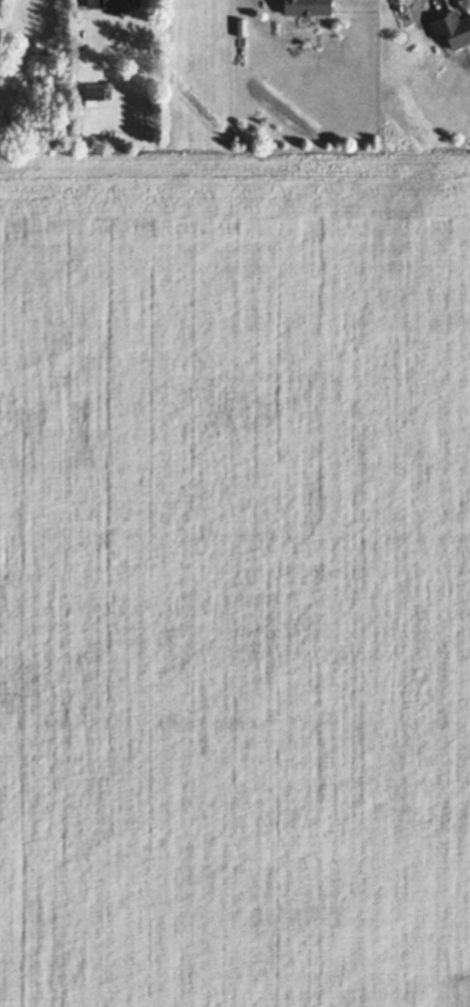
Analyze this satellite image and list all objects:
building: (115, 4)
building: (304, 5)
building: (401, 18)
building: (451, 28)
building: (94, 93)
building: (5, 112)

